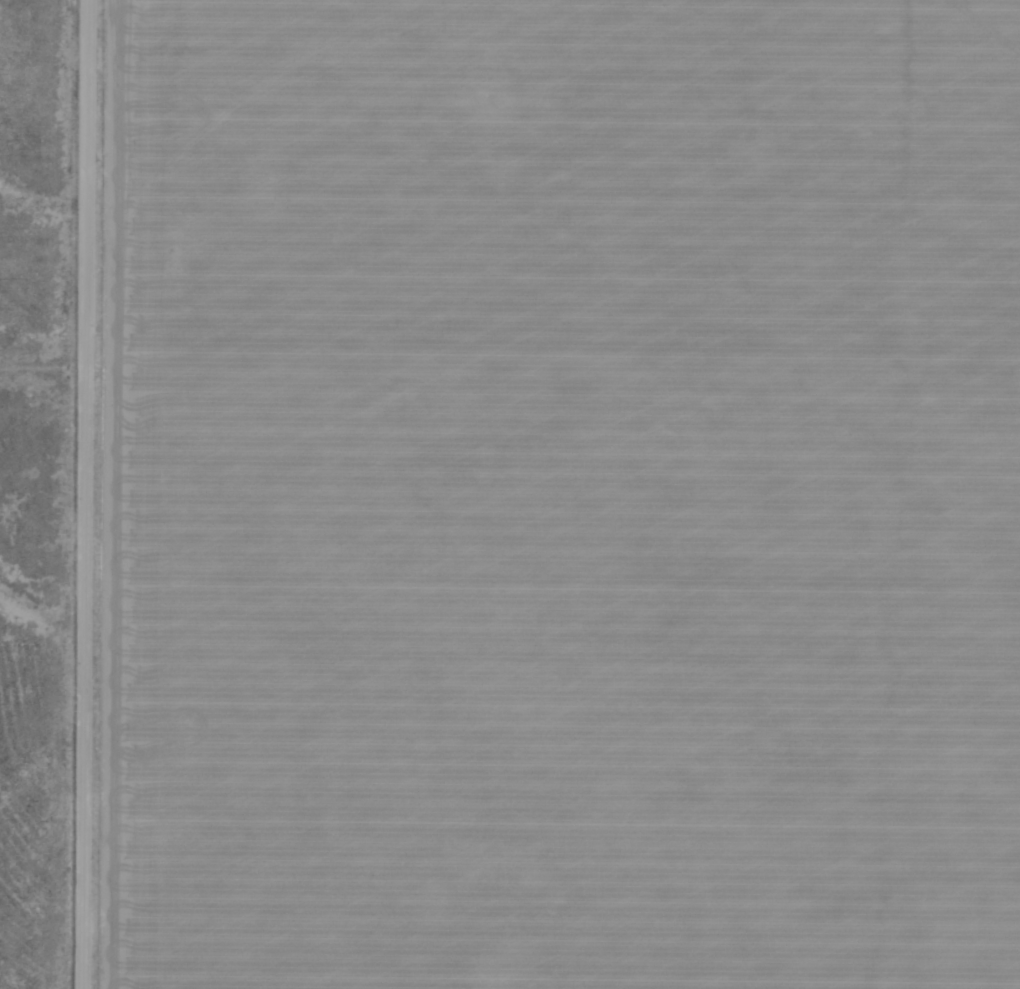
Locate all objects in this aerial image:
road: (131, 494)

